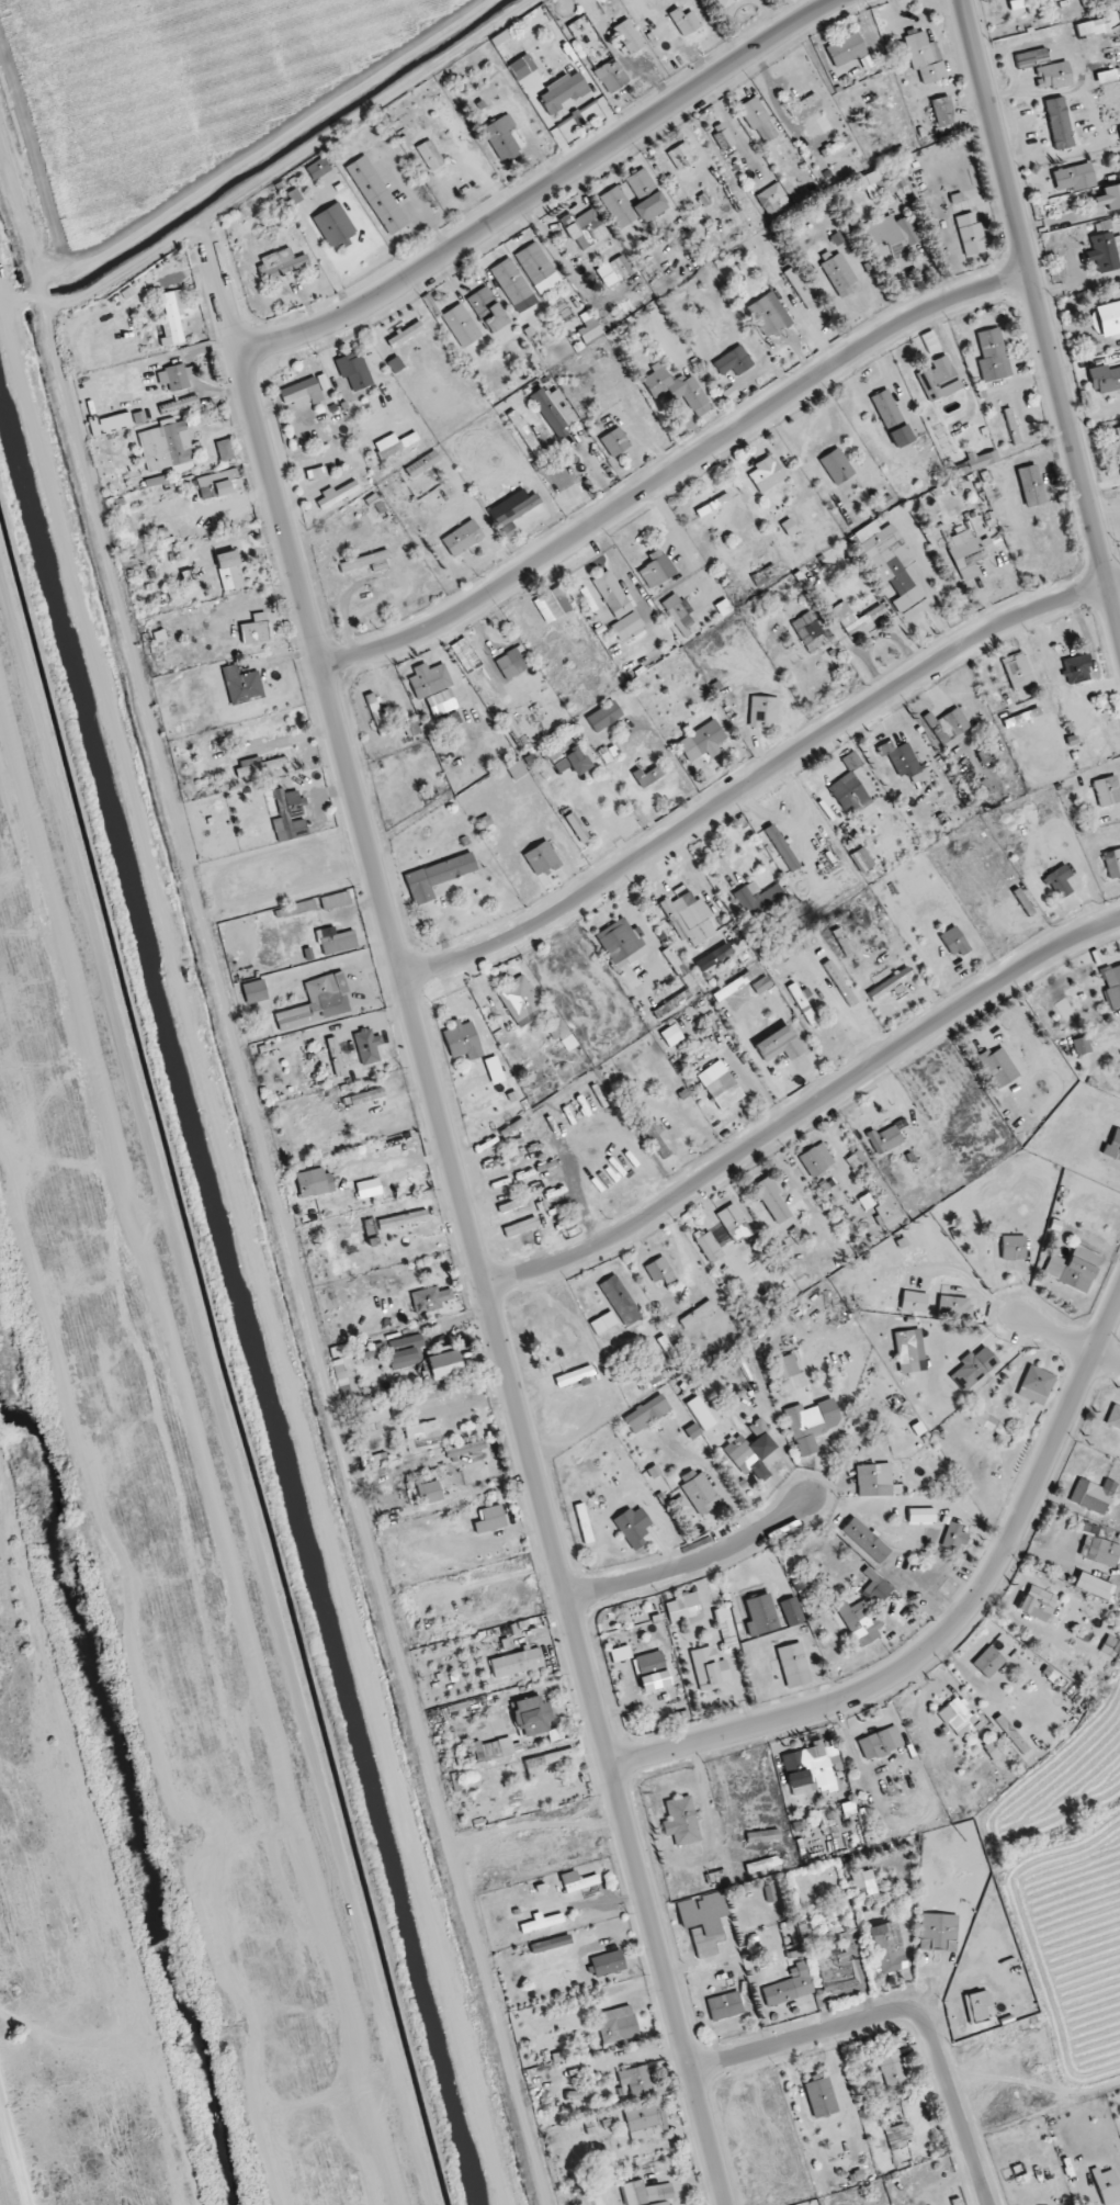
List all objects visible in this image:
building: (1088, 2)
building: (725, 3)
building: (1029, 3)
building: (685, 22)
building: (1093, 27)
building: (581, 32)
building: (629, 36)
building: (846, 49)
building: (1032, 58)
building: (924, 59)
building: (611, 76)
building: (1053, 77)
building: (943, 111)
building: (759, 120)
building: (1060, 123)
building: (502, 138)
building: (430, 156)
building: (681, 156)
building: (1074, 179)
building: (880, 184)
road: (543, 190)
building: (376, 195)
building: (298, 196)
building: (634, 199)
building: (1109, 199)
building: (773, 200)
building: (355, 215)
building: (585, 229)
building: (973, 235)
building: (887, 243)
building: (1106, 246)
building: (280, 263)
building: (538, 268)
building: (620, 268)
building: (839, 274)
building: (511, 282)
building: (800, 289)
building: (488, 310)
building: (767, 314)
building: (173, 316)
road: (1041, 316)
building: (464, 329)
building: (589, 329)
building: (405, 335)
building: (992, 355)
building: (734, 362)
building: (353, 372)
building: (1105, 378)
building: (172, 379)
building: (938, 379)
building: (678, 389)
building: (299, 393)
building: (558, 408)
building: (891, 418)
building: (1011, 426)
building: (524, 432)
building: (615, 442)
building: (393, 445)
building: (949, 449)
building: (225, 450)
building: (421, 464)
building: (837, 466)
road: (676, 471)
building: (917, 471)
building: (766, 474)
building: (217, 484)
building: (1031, 485)
building: (555, 486)
building: (337, 494)
building: (713, 505)
building: (168, 508)
building: (518, 510)
building: (463, 538)
building: (969, 550)
building: (367, 562)
building: (886, 563)
building: (656, 570)
building: (229, 571)
building: (765, 575)
building: (552, 605)
building: (618, 606)
building: (678, 618)
building: (859, 619)
building: (256, 630)
building: (807, 631)
building: (638, 654)
building: (506, 667)
building: (1077, 670)
building: (1017, 671)
building: (242, 686)
building: (433, 688)
building: (763, 712)
building: (376, 713)
building: (604, 716)
building: (450, 720)
building: (948, 727)
building: (702, 741)
building: (564, 755)
building: (903, 761)
building: (260, 766)
building: (647, 776)
road: (759, 777)
building: (853, 787)
building: (1108, 791)
building: (289, 808)
building: (577, 828)
building: (542, 859)
building: (862, 860)
building: (1112, 863)
building: (437, 877)
building: (1059, 881)
building: (759, 899)
building: (335, 901)
building: (690, 918)
building: (339, 942)
building: (620, 942)
building: (954, 943)
building: (719, 954)
building: (1119, 967)
building: (890, 985)
building: (520, 1001)
building: (670, 1036)
building: (462, 1040)
building: (779, 1045)
building: (369, 1047)
building: (336, 1056)
building: (997, 1066)
building: (724, 1092)
building: (366, 1096)
road: (806, 1111)
road: (801, 1124)
building: (885, 1138)
building: (657, 1140)
building: (816, 1160)
road: (842, 1160)
building: (861, 1166)
building: (313, 1183)
building: (373, 1193)
building: (773, 1200)
building: (887, 1215)
road: (466, 1217)
road: (666, 1217)
building: (403, 1219)
building: (734, 1222)
building: (370, 1227)
building: (521, 1227)
building: (708, 1245)
building: (1014, 1248)
road: (612, 1250)
road: (683, 1264)
building: (659, 1270)
building: (1071, 1272)
building: (621, 1300)
road: (638, 1302)
building: (955, 1306)
road: (1028, 1338)
road: (1071, 1340)
building: (906, 1348)
building: (972, 1368)
building: (575, 1377)
road: (983, 1380)
building: (1036, 1385)
building: (645, 1411)
building: (983, 1419)
building: (805, 1422)
building: (750, 1451)
building: (482, 1466)
building: (874, 1480)
building: (701, 1494)
building: (1093, 1496)
building: (921, 1517)
building: (491, 1520)
building: (633, 1526)
building: (954, 1538)
building: (867, 1540)
building: (1100, 1551)
road: (693, 1564)
building: (874, 1583)
building: (687, 1601)
building: (1043, 1607)
road: (271, 1613)
building: (860, 1622)
building: (726, 1629)
road: (950, 1630)
building: (1111, 1647)
building: (793, 1661)
building: (989, 1662)
building: (517, 1663)
building: (652, 1670)
building: (713, 1675)
building: (531, 1717)
building: (960, 1718)
building: (881, 1743)
building: (487, 1751)
river: (118, 1754)
building: (550, 1759)
building: (812, 1769)
building: (681, 1821)
building: (767, 1863)
building: (716, 1878)
building: (577, 1882)
building: (864, 1883)
building: (542, 1923)
building: (938, 1933)
building: (711, 1939)
building: (887, 1948)
building: (608, 1964)
building: (836, 1972)
building: (790, 1988)
building: (725, 2006)
building: (980, 2007)
road: (902, 2013)
building: (618, 2029)
building: (892, 2071)
building: (636, 2081)
building: (821, 2097)
building: (645, 2120)
building: (1100, 2130)
building: (900, 2137)
building: (1065, 2148)
building: (1108, 2186)
building: (645, 2193)

